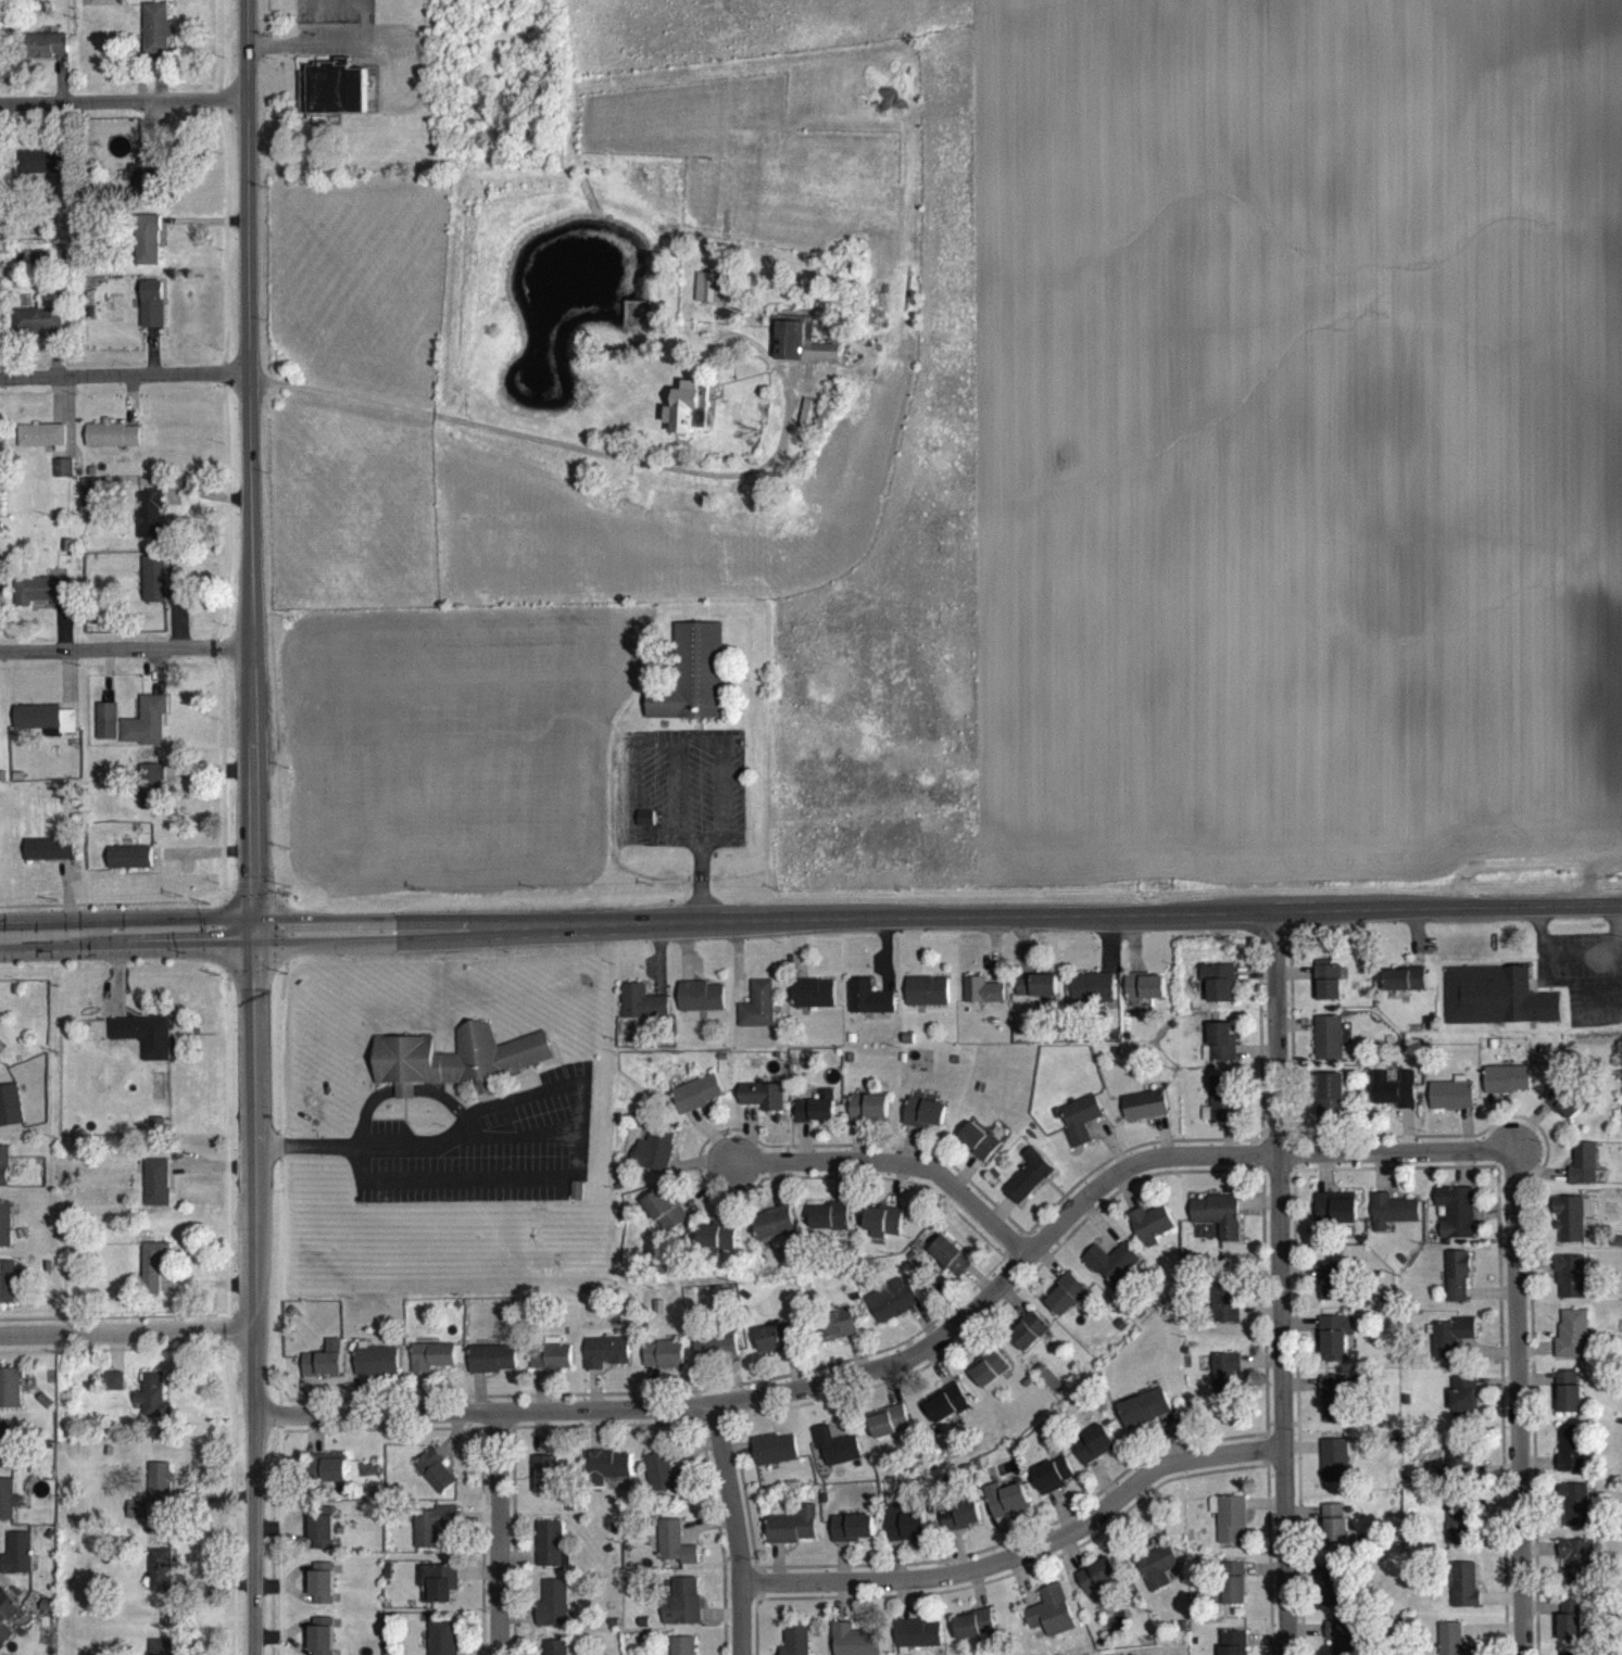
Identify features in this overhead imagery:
building: (101, 1)
building: (158, 39)
road: (329, 43)
building: (47, 56)
road: (124, 99)
building: (335, 99)
building: (42, 173)
building: (148, 181)
building: (148, 251)
building: (711, 299)
building: (153, 315)
building: (41, 328)
building: (803, 353)
road: (124, 375)
building: (688, 420)
building: (113, 445)
building: (42, 446)
road: (595, 451)
road: (250, 465)
building: (64, 479)
building: (92, 503)
building: (150, 525)
building: (155, 590)
building: (42, 602)
road: (126, 646)
building: (694, 687)
building: (47, 730)
building: (108, 732)
building: (147, 733)
road: (693, 736)
building: (152, 797)
building: (645, 829)
building: (50, 860)
building: (130, 869)
road: (703, 881)
road: (938, 914)
traffic signals: (254, 931)
road: (127, 933)
road: (1580, 964)
building: (1404, 988)
building: (1328, 991)
building: (1219, 994)
building: (1145, 997)
building: (1036, 998)
building: (1093, 998)
building: (983, 1001)
building: (928, 1002)
building: (814, 1005)
building: (701, 1008)
building: (1496, 1008)
building: (869, 1009)
building: (642, 1014)
building: (758, 1018)
building: (146, 1046)
building: (1328, 1050)
building: (1222, 1053)
building: (456, 1070)
building: (1508, 1089)
building: (1394, 1100)
building: (697, 1104)
building: (1330, 1106)
building: (1453, 1106)
building: (763, 1107)
building: (1566, 1112)
building: (1220, 1113)
building: (11, 1116)
building: (1145, 1116)
building: (869, 1117)
building: (816, 1120)
building: (925, 1124)
building: (1081, 1130)
road: (569, 1148)
building: (979, 1151)
building: (654, 1160)
road: (892, 1172)
building: (1584, 1175)
building: (4, 1177)
building: (1029, 1187)
building: (158, 1193)
building: (1335, 1218)
building: (665, 1221)
building: (1393, 1222)
building: (1457, 1223)
building: (1219, 1225)
building: (831, 1227)
building: (1572, 1228)
building: (883, 1233)
building: (774, 1234)
building: (5, 1235)
building: (1152, 1236)
building: (717, 1248)
building: (952, 1266)
building: (1112, 1273)
building: (153, 1279)
road: (1283, 1280)
building: (1458, 1288)
building: (1571, 1288)
road: (254, 1292)
building: (7, 1293)
building: (1335, 1299)
building: (1068, 1305)
building: (892, 1311)
building: (1227, 1311)
building: (843, 1324)
road: (127, 1332)
building: (1029, 1342)
building: (1573, 1344)
building: (1336, 1349)
building: (1450, 1349)
road: (913, 1350)
building: (770, 1351)
building: (716, 1360)
building: (605, 1363)
building: (664, 1366)
building: (432, 1367)
building: (493, 1369)
building: (325, 1372)
building: (377, 1372)
building: (990, 1379)
building: (1227, 1385)
building: (113, 1392)
building: (11, 1400)
building: (1570, 1403)
road: (1510, 1404)
building: (152, 1406)
building: (1464, 1406)
building: (1335, 1414)
building: (947, 1415)
building: (1146, 1419)
building: (889, 1432)
building: (5, 1454)
building: (1094, 1456)
building: (835, 1457)
building: (1572, 1460)
building: (775, 1461)
building: (1456, 1464)
building: (1336, 1471)
building: (606, 1477)
building: (328, 1478)
building: (436, 1481)
building: (544, 1485)
building: (663, 1486)
building: (1053, 1487)
building: (153, 1502)
building: (1006, 1509)
building: (8, 1511)
building: (1575, 1516)
building: (1334, 1519)
building: (960, 1527)
road: (725, 1529)
building: (1231, 1529)
road: (500, 1532)
building: (905, 1533)
building: (433, 1537)
building: (1459, 1537)
building: (793, 1538)
building: (852, 1539)
building: (323, 1543)
building: (1337, 1544)
building: (549, 1555)
building: (675, 1555)
road: (1021, 1557)
building: (17, 1565)
building: (1158, 1578)
building: (1576, 1579)
building: (161, 1580)
building: (1098, 1587)
building: (323, 1594)
building: (438, 1594)
building: (1233, 1594)
building: (1467, 1597)
building: (682, 1614)
building: (553, 1615)
building: (1052, 1622)
building: (7, 1627)
building: (1572, 1631)
building: (975, 1635)
building: (323, 1641)
building: (443, 1642)
building: (1343, 1642)
building: (919, 1643)
building: (796, 1644)
building: (1451, 1644)
building: (855, 1646)
building: (1233, 1648)
building: (683, 1651)
building: (161, 1652)
building: (555, 1653)

